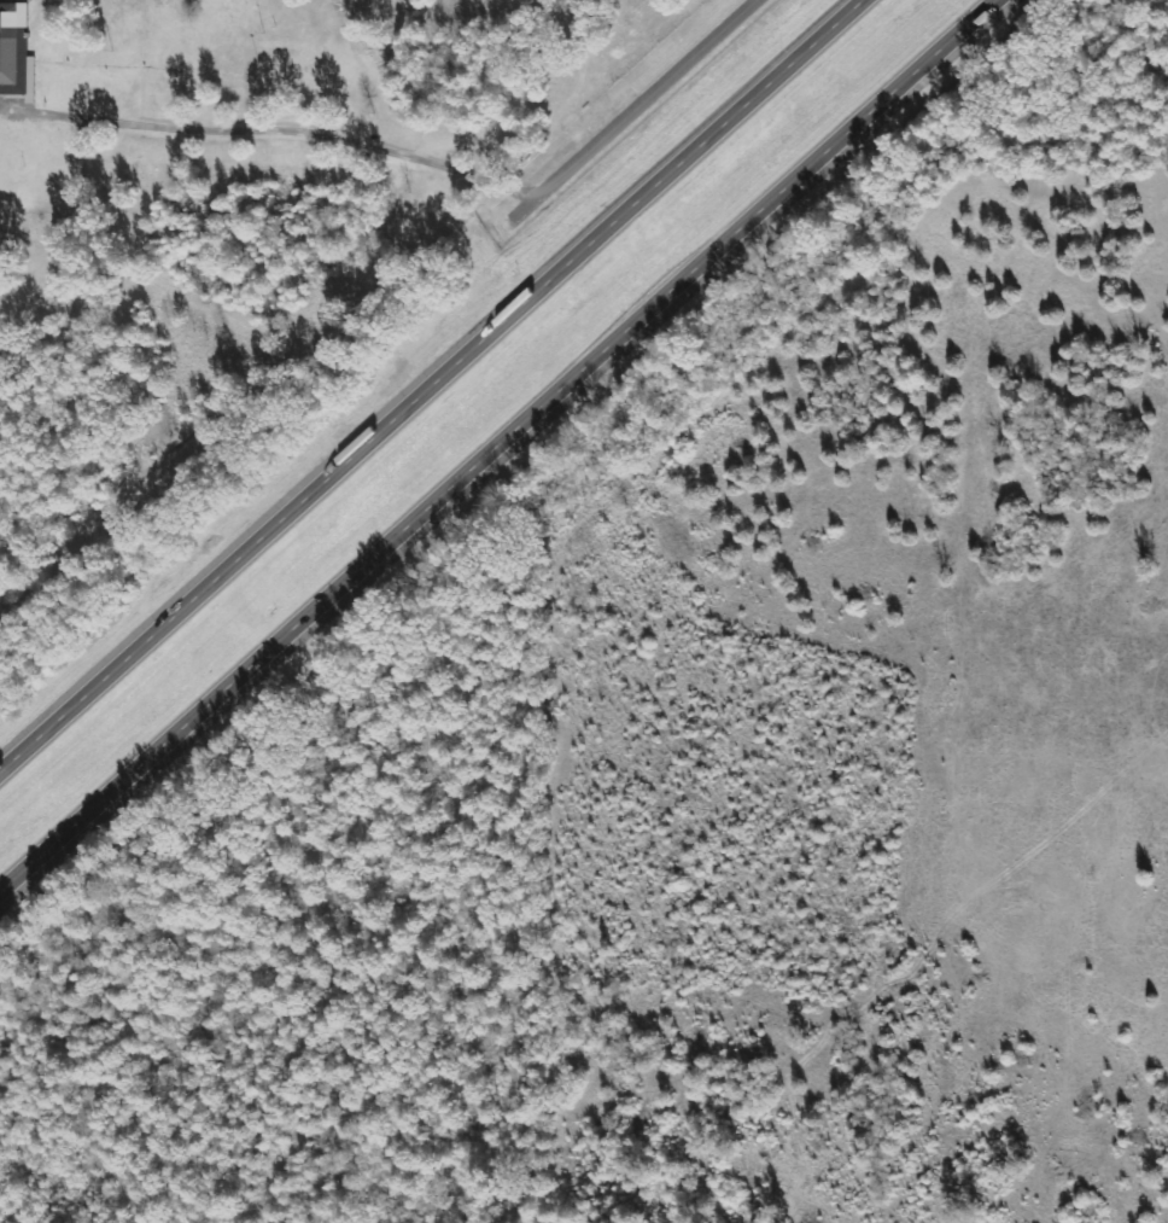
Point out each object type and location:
building: (16, 51)
road: (640, 107)
road: (436, 390)
road: (503, 450)

